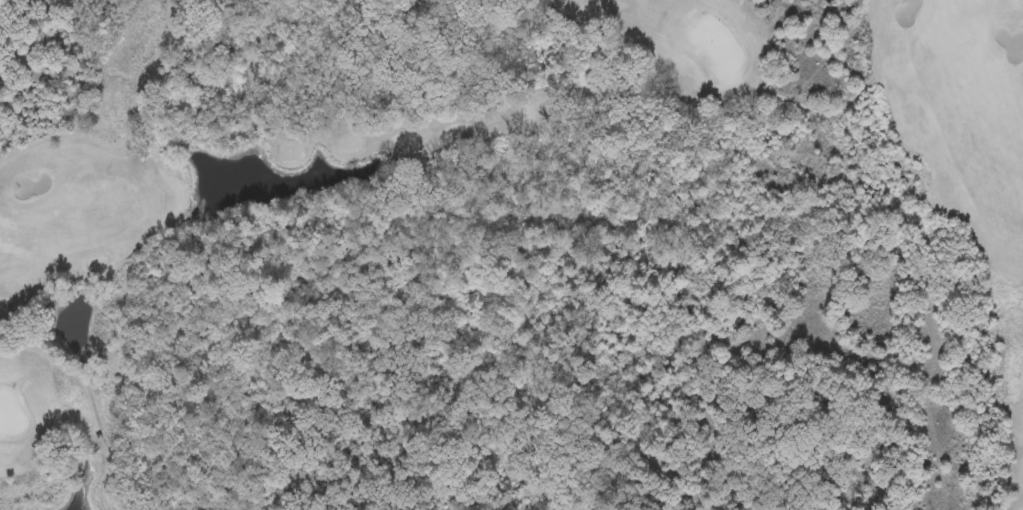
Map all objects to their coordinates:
park: (511, 255)

